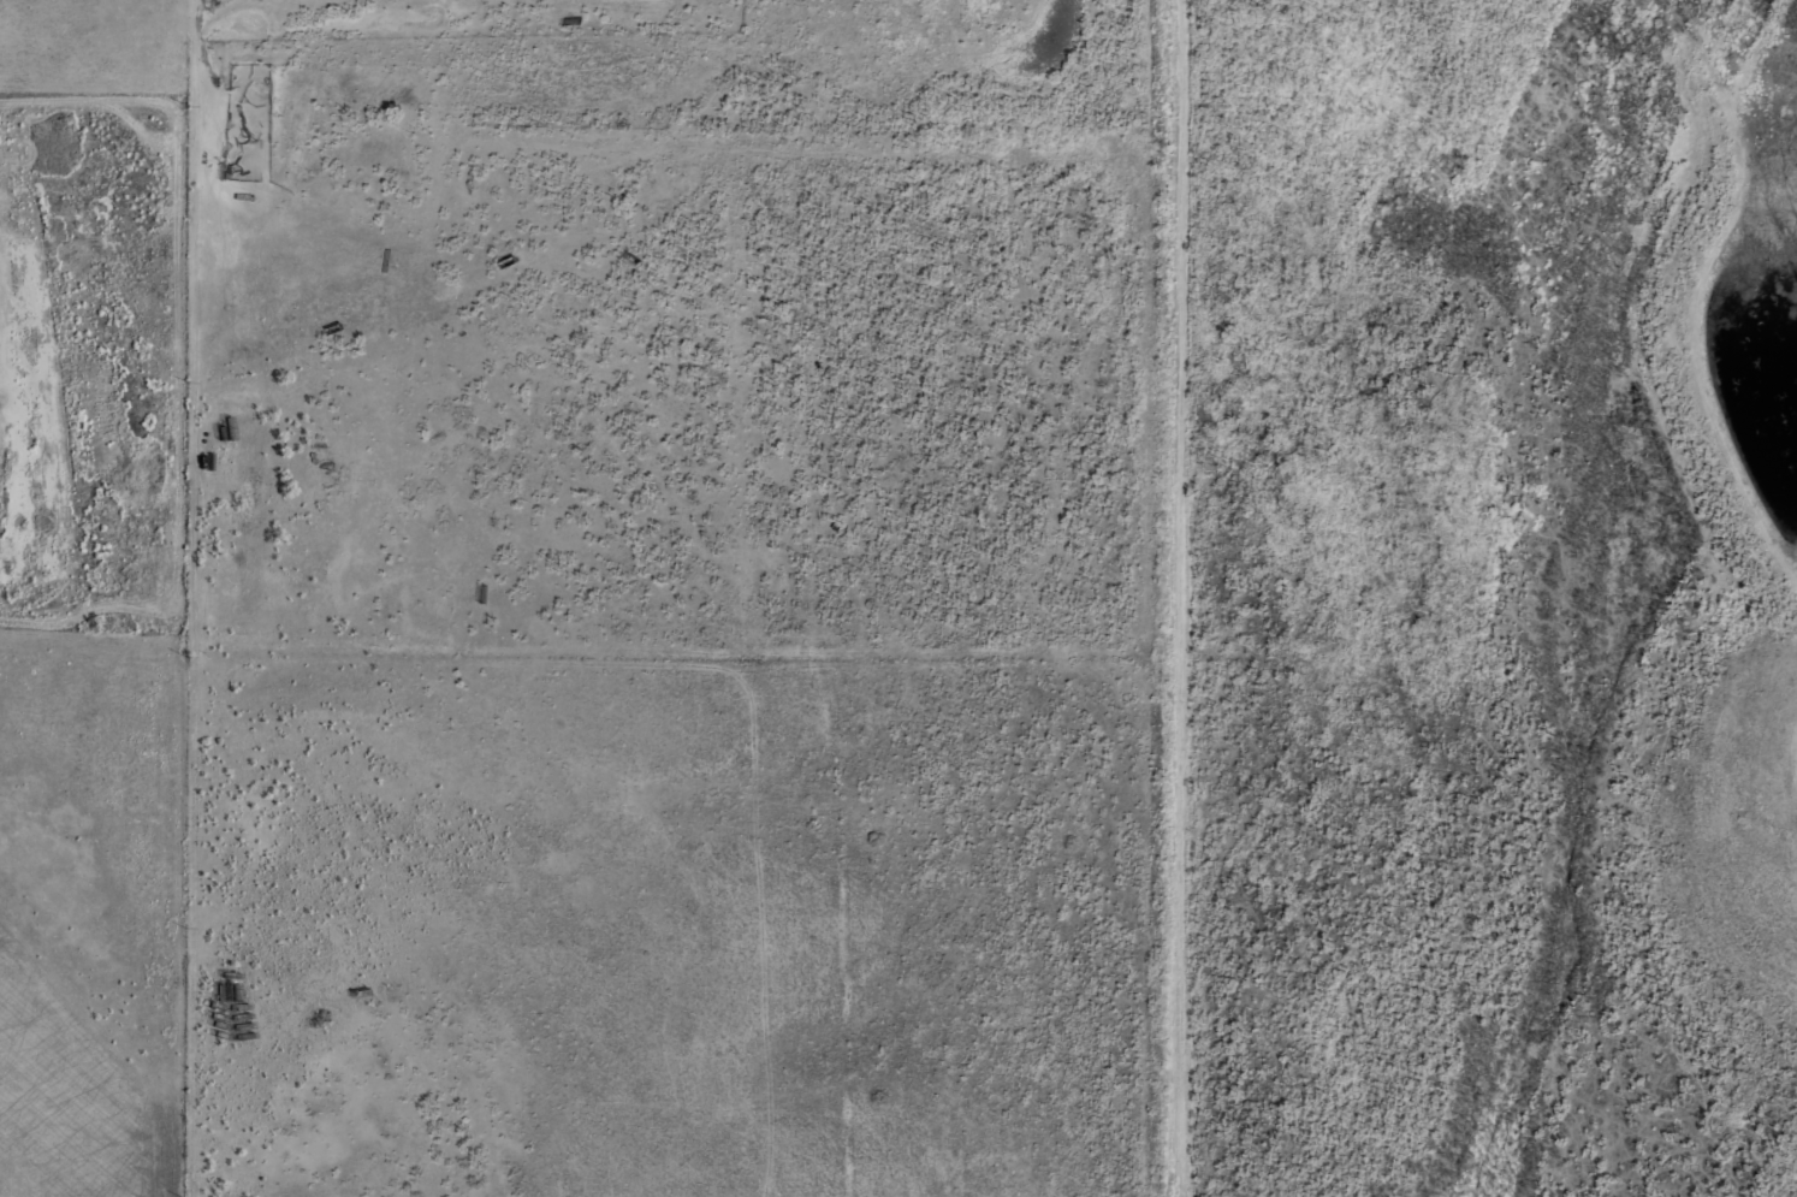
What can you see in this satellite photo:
road: (1164, 598)

